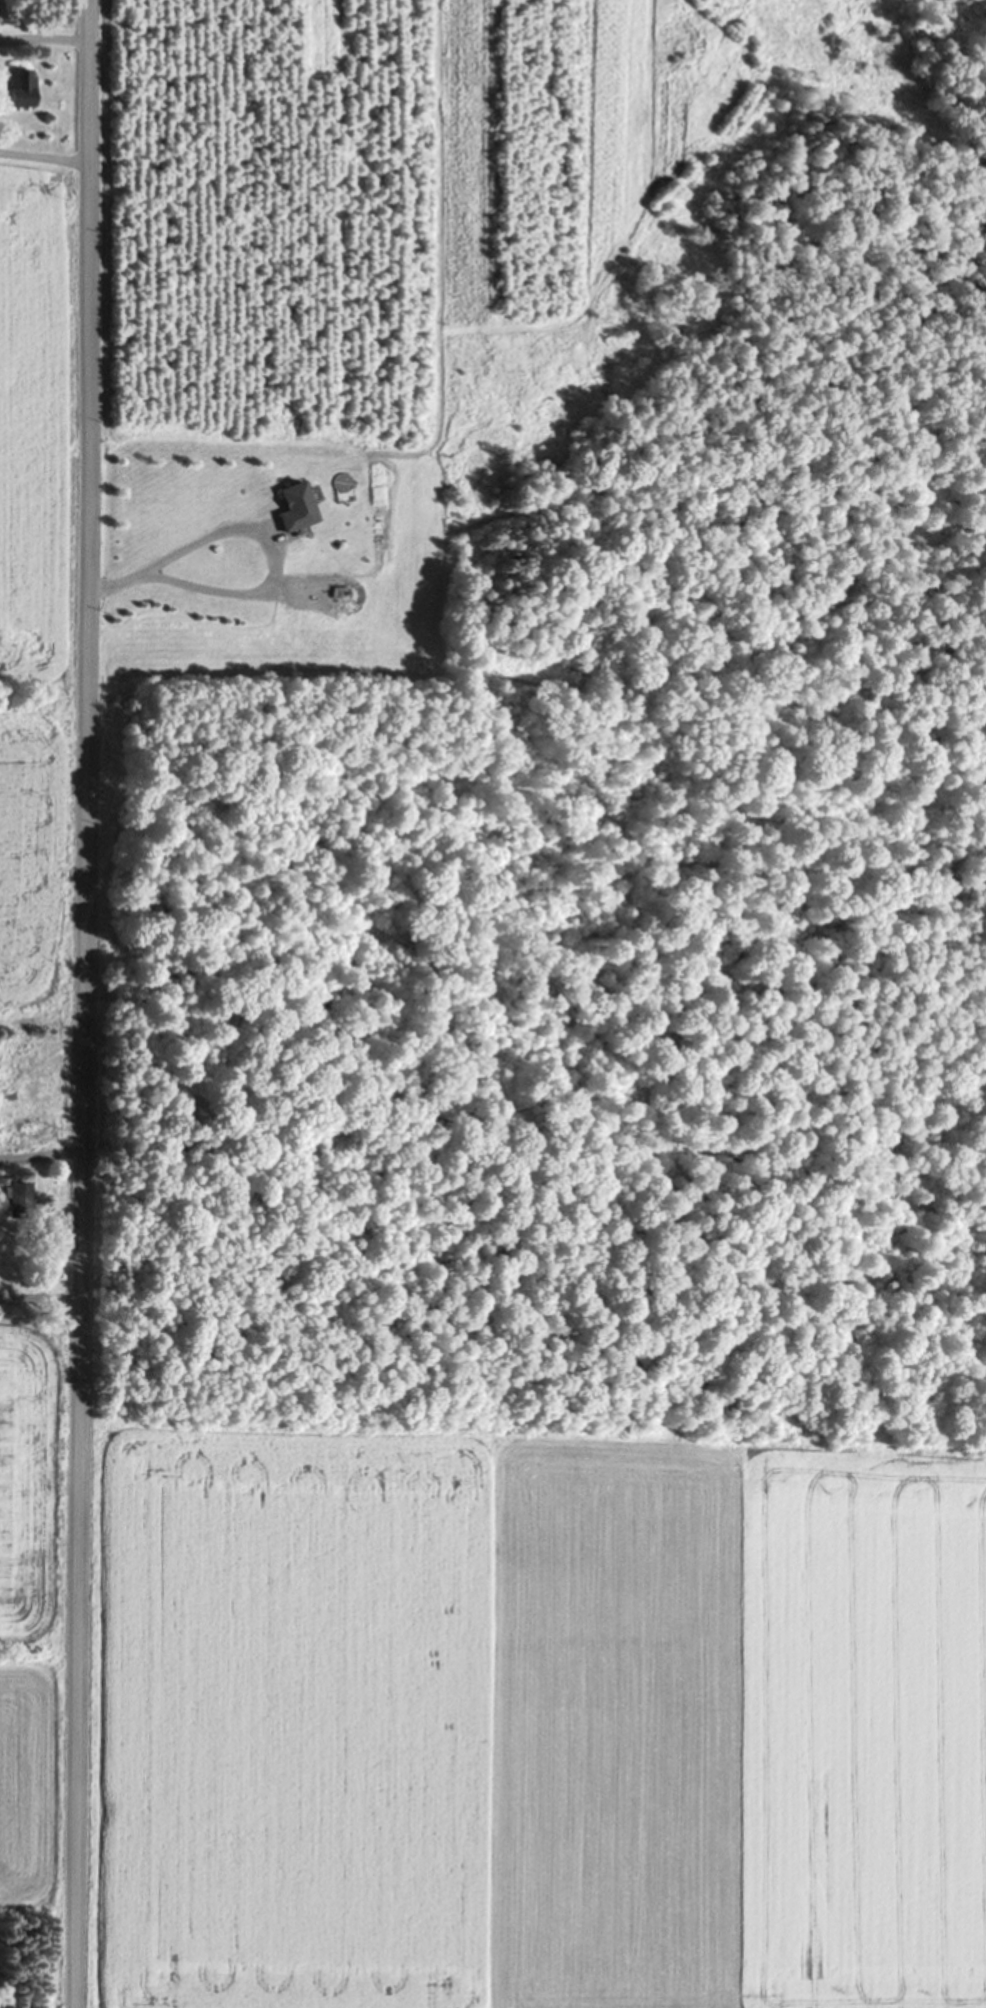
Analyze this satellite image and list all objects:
building: (20, 90)
building: (294, 509)
road: (78, 1004)
building: (19, 1202)

